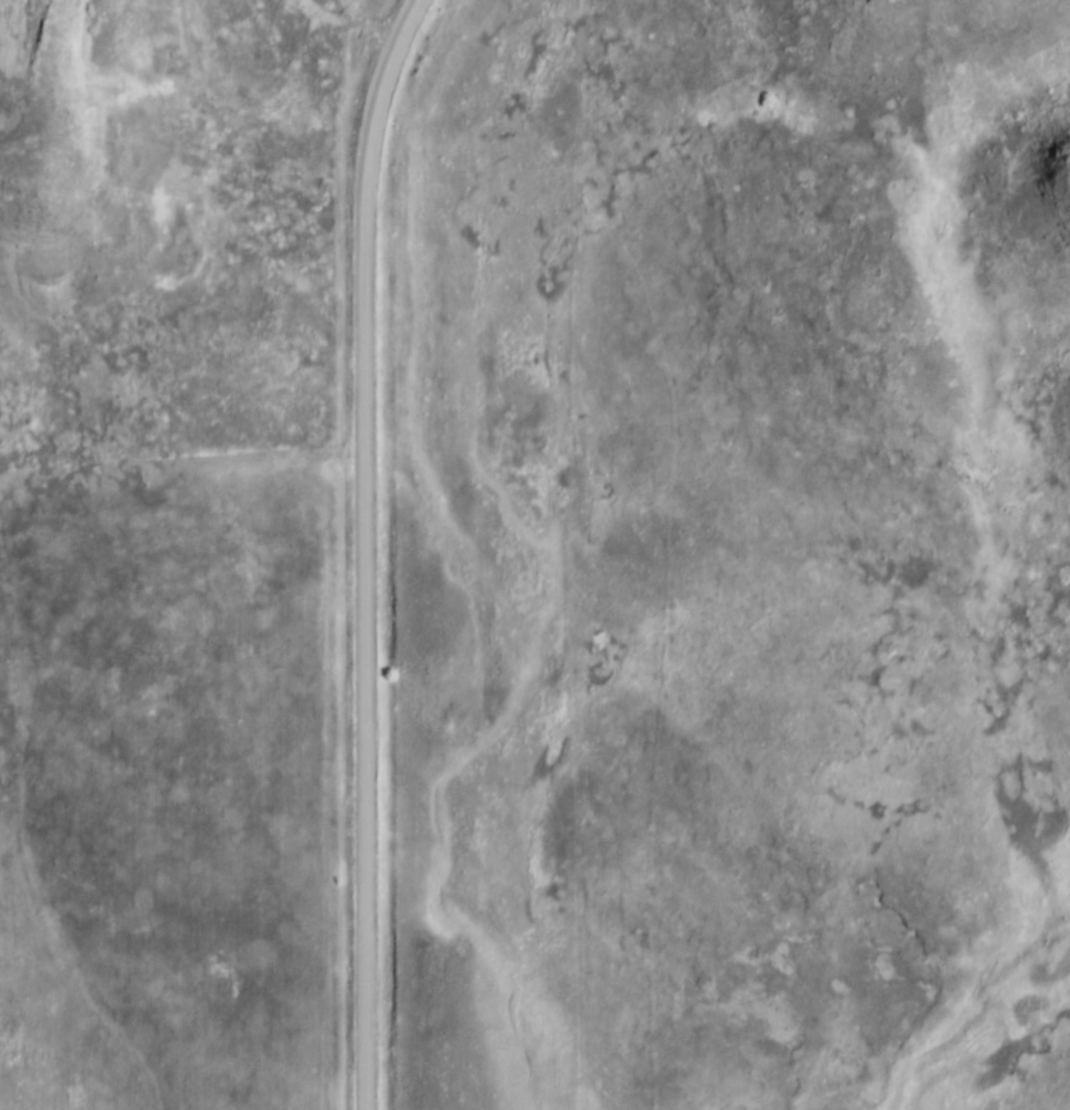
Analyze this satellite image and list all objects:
quarry: (28, 35)
road: (277, 99)
road: (364, 550)

